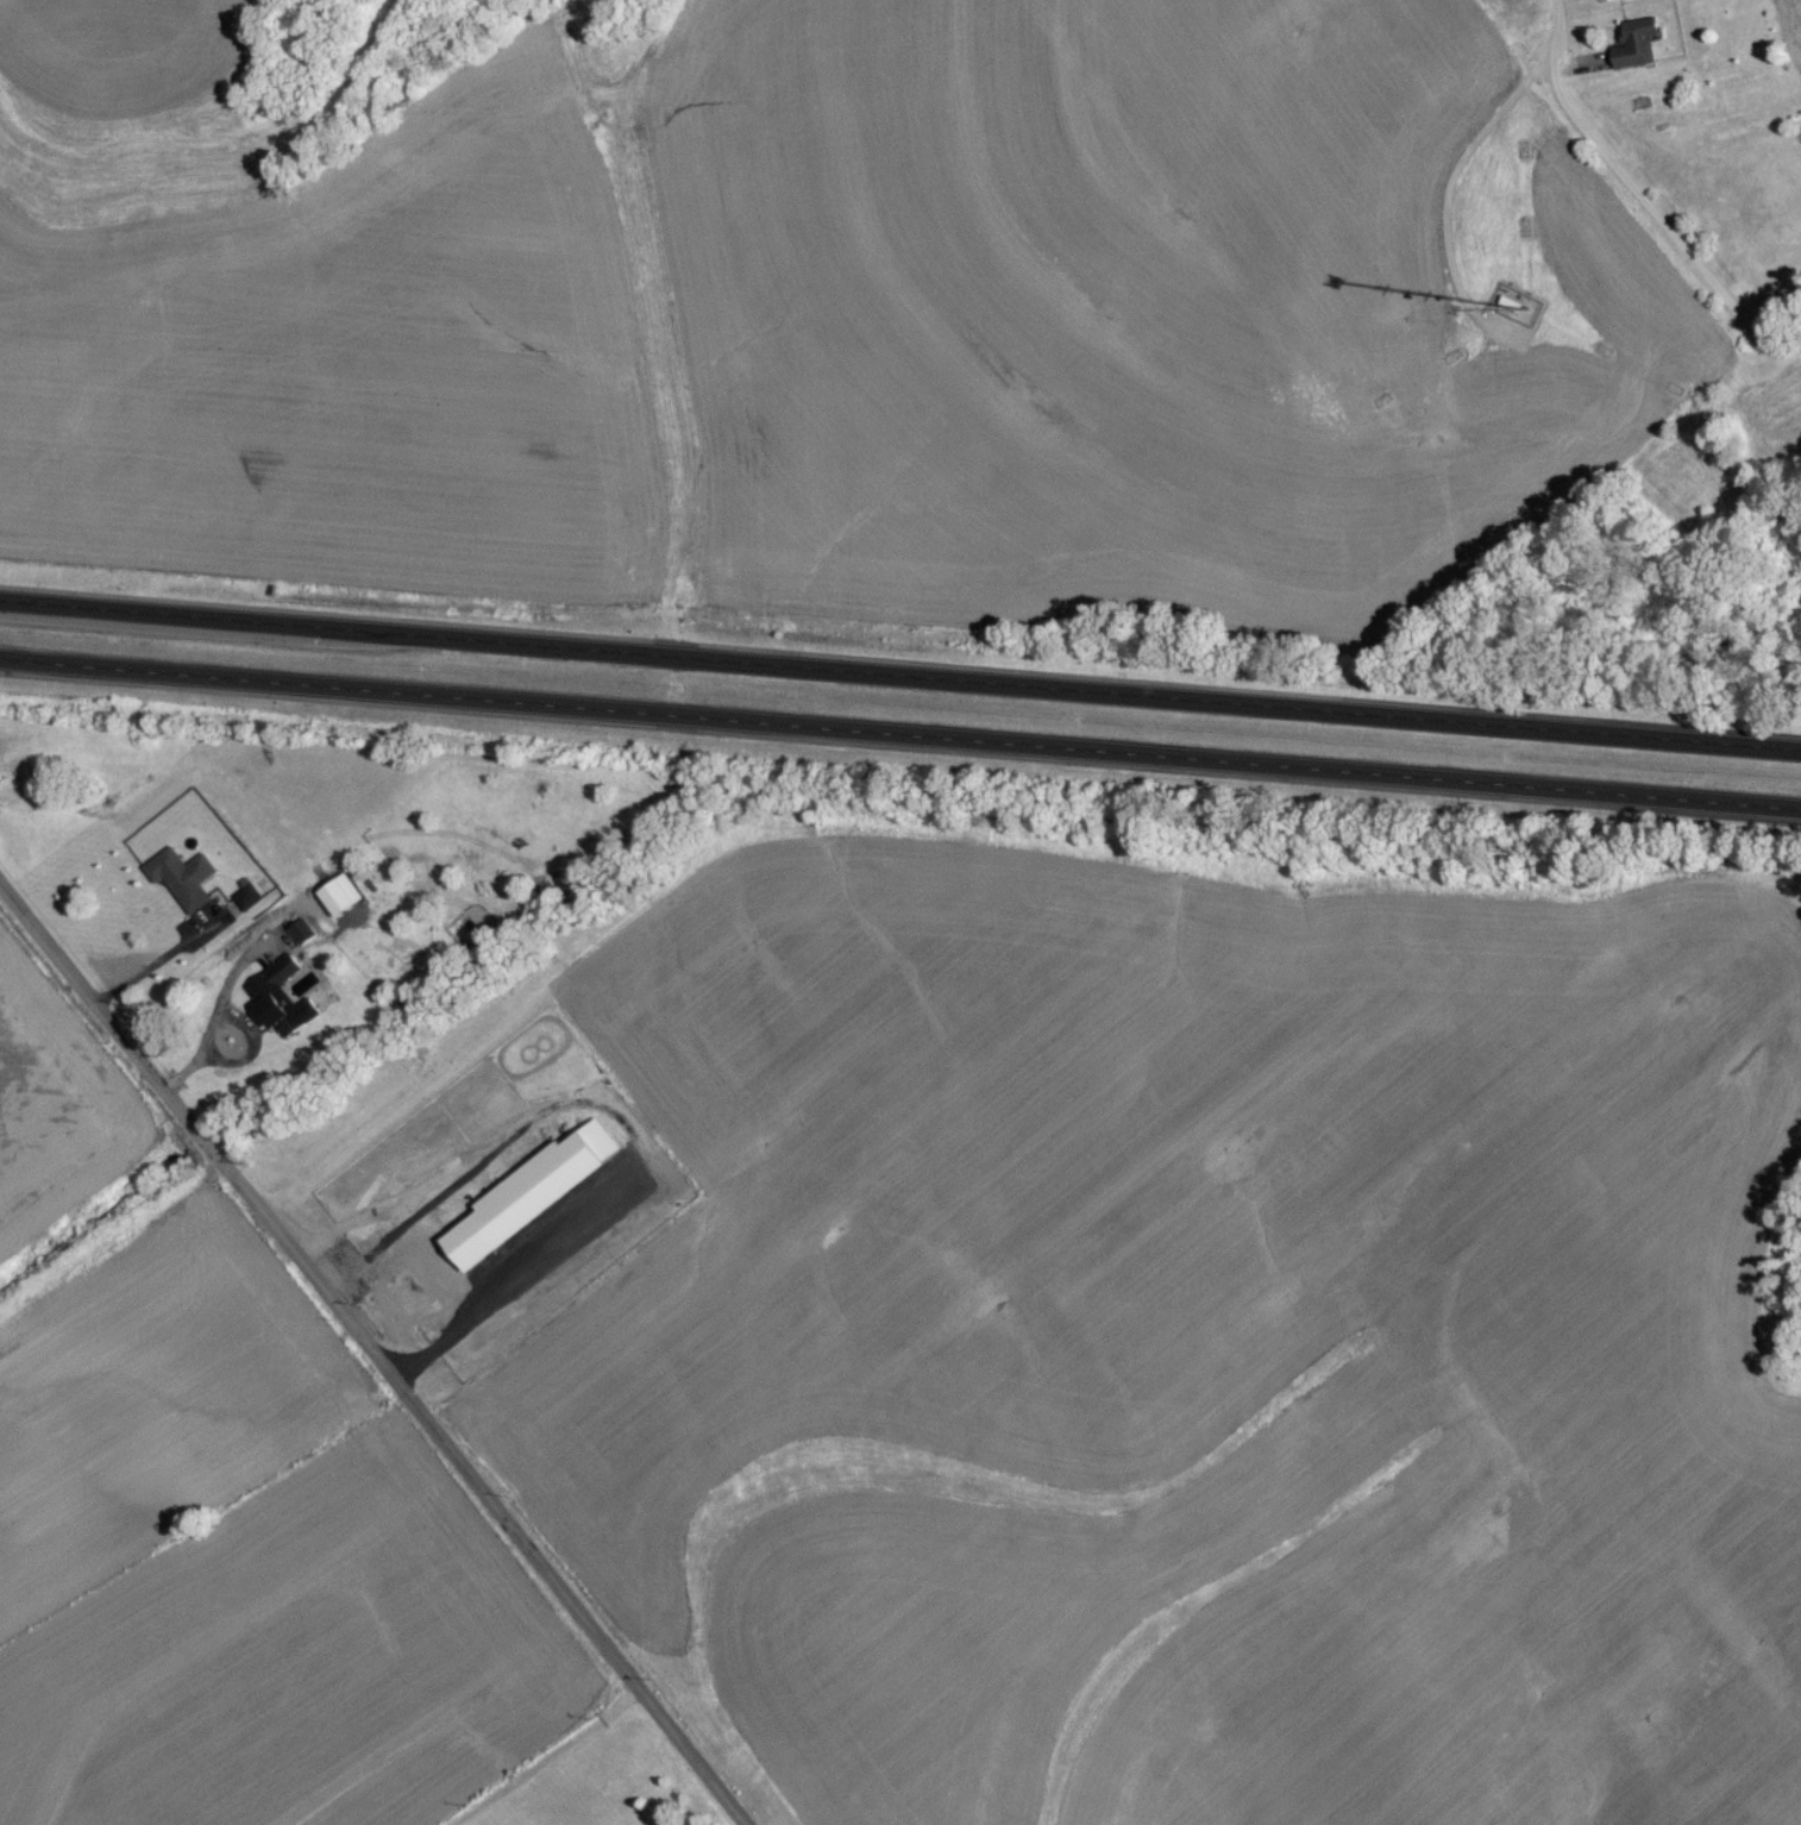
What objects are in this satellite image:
road: (1558, 23)
building: (1637, 50)
road: (1653, 214)
road: (181, 255)
road: (899, 679)
road: (899, 740)
building: (182, 885)
building: (297, 941)
building: (281, 1006)
road: (217, 1011)
road: (250, 1052)
road: (620, 1122)
building: (483, 1243)
road: (369, 1359)

